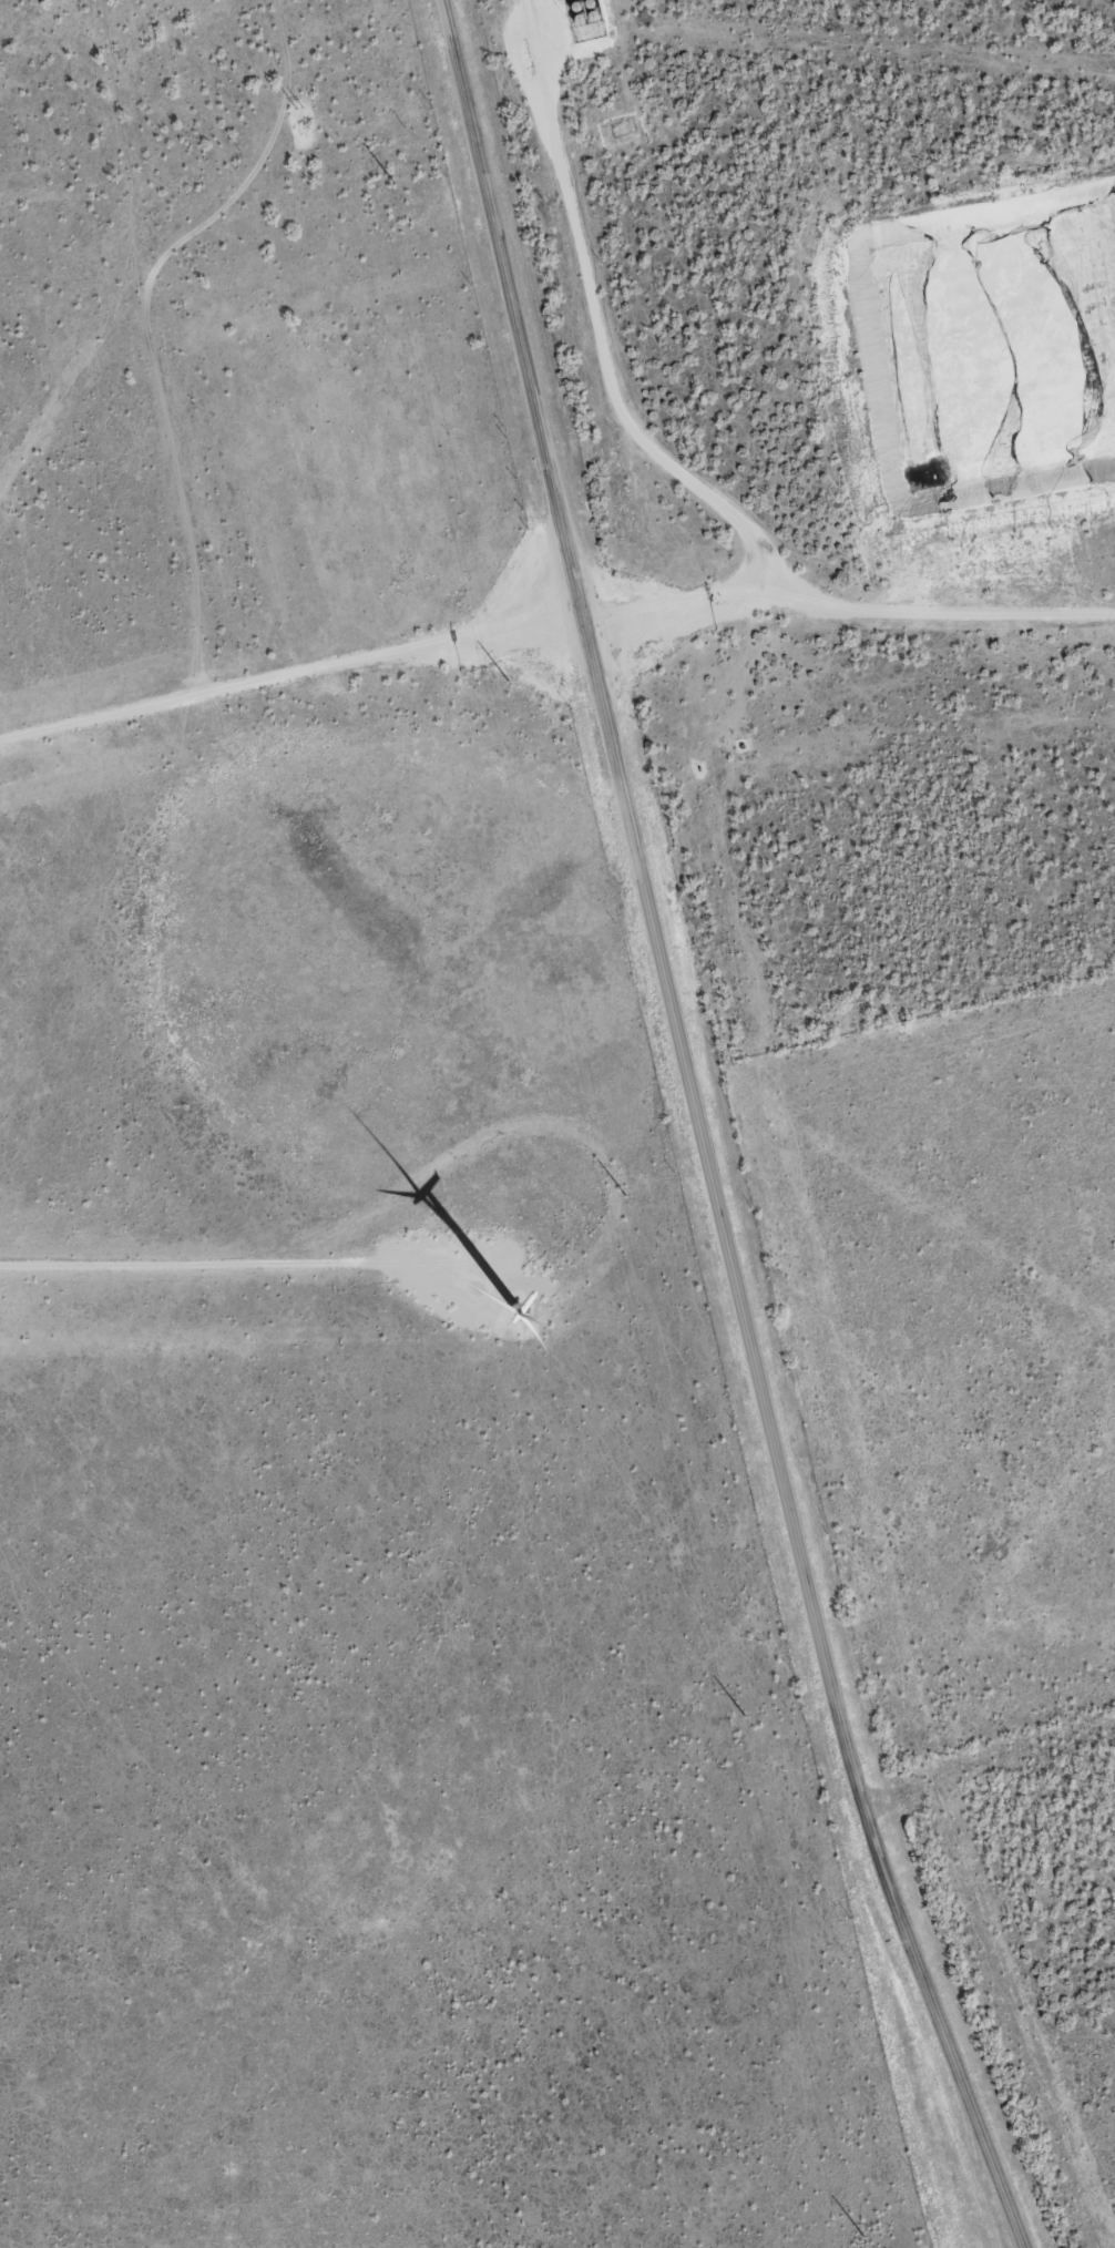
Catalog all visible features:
power tower: (391, 184)
power tower: (504, 681)
road: (698, 1133)
power tower: (622, 1197)
wind turbine: (511, 1290)
power tower: (738, 1717)
power tower: (859, 2238)

